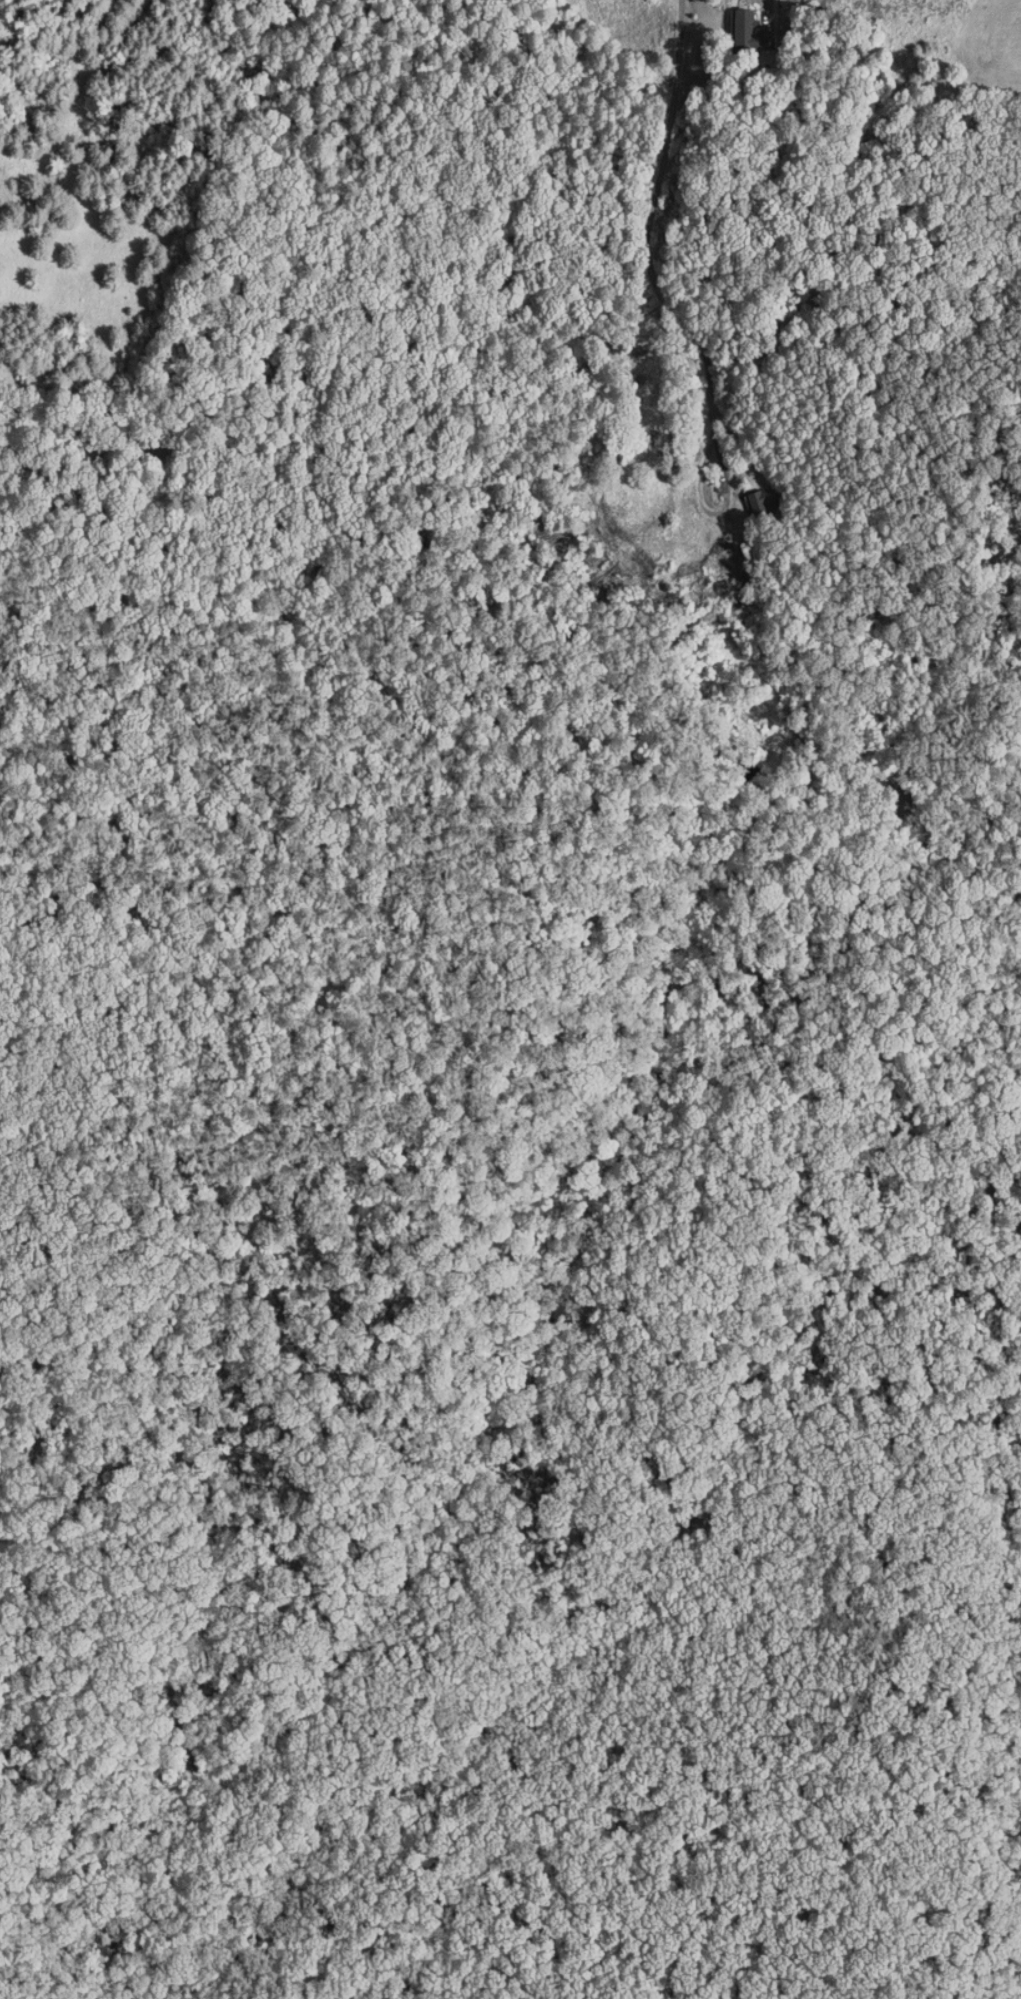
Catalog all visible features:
building: (752, 31)
road: (661, 176)
building: (763, 502)

